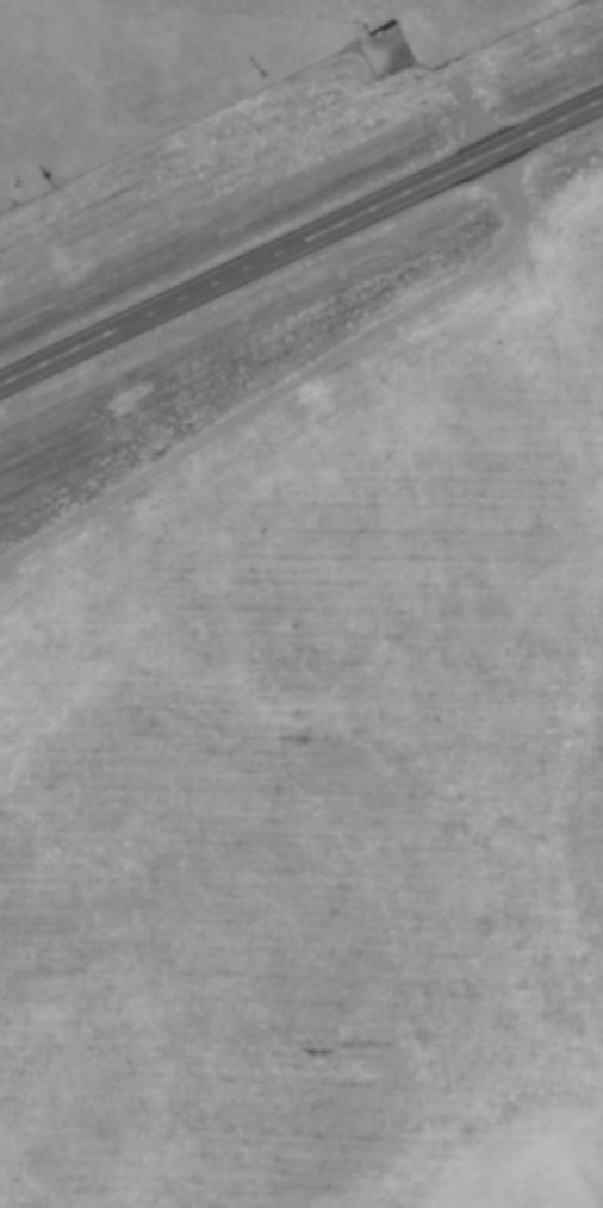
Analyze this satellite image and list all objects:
road: (300, 242)
road: (294, 381)

